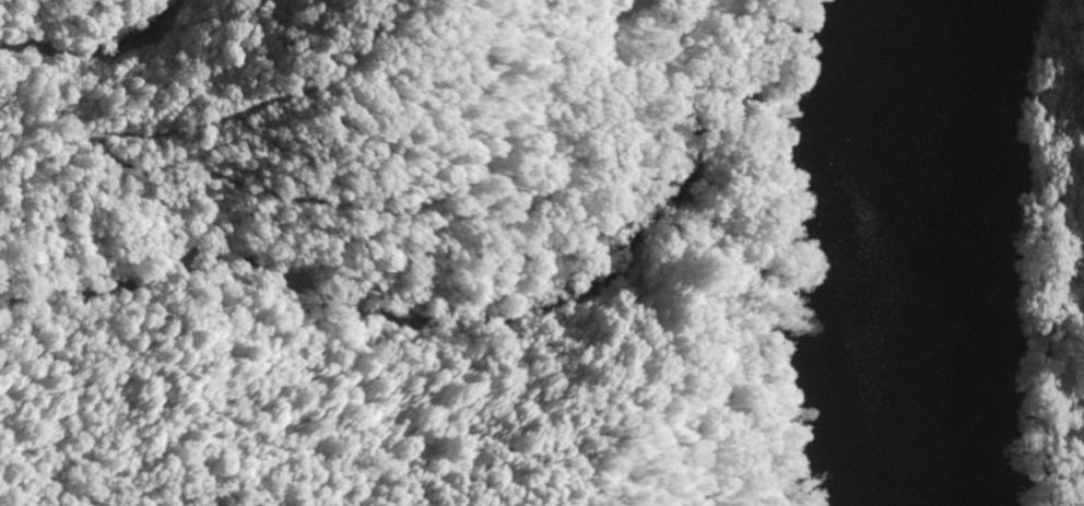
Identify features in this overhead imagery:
river: (924, 254)

